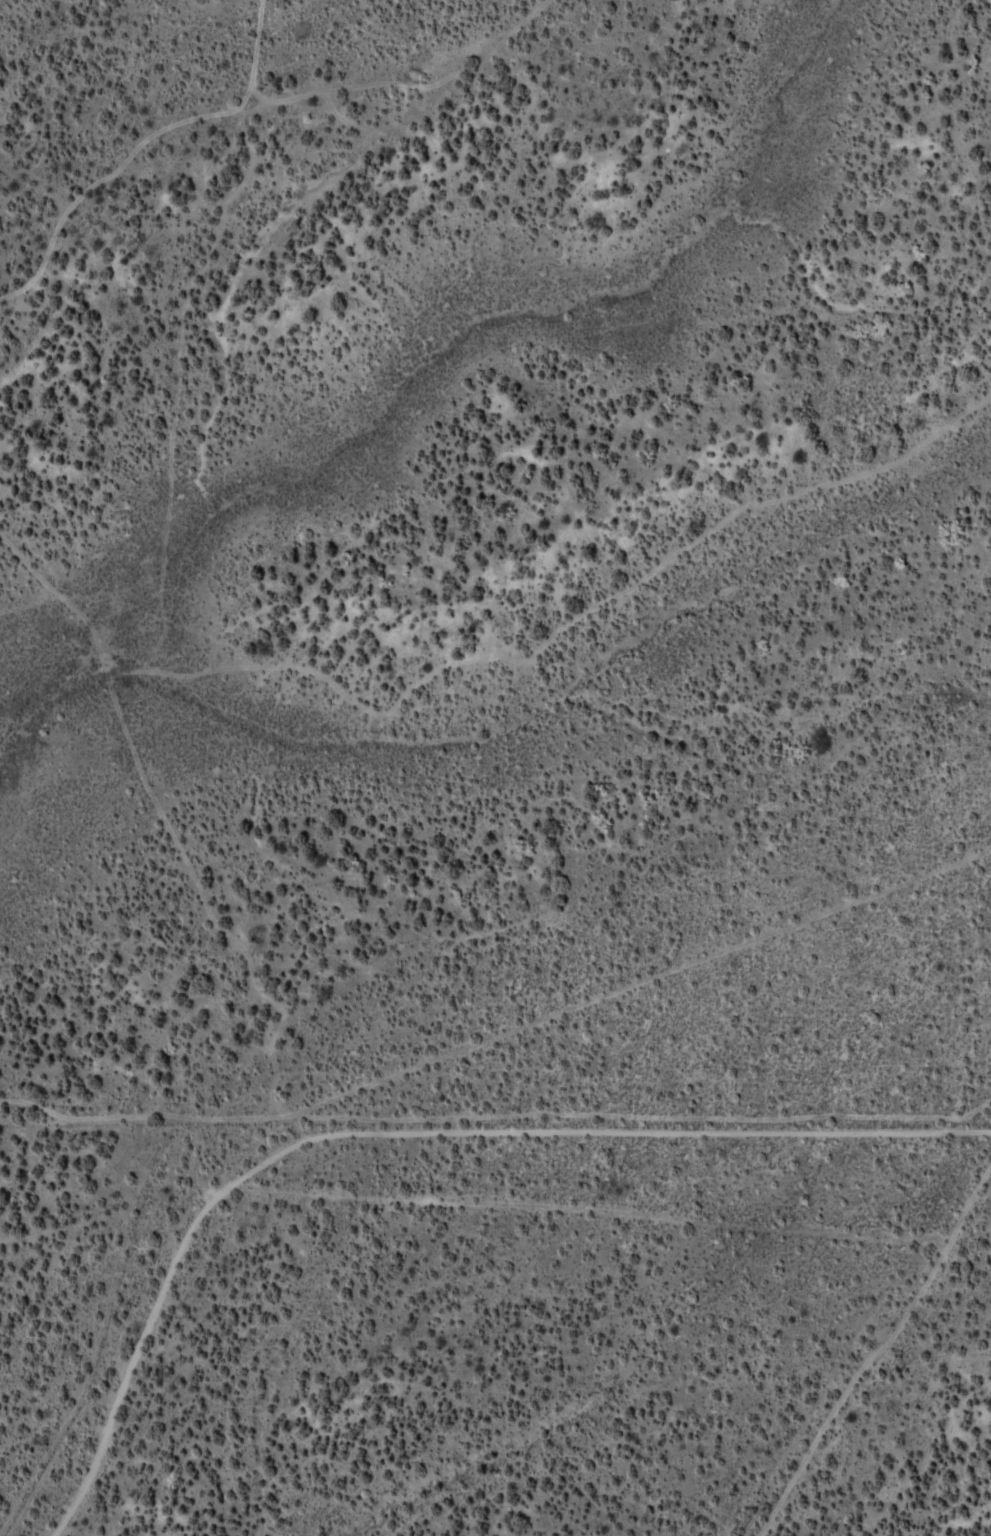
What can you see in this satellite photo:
road: (246, 105)
road: (402, 1132)
road: (873, 1354)

